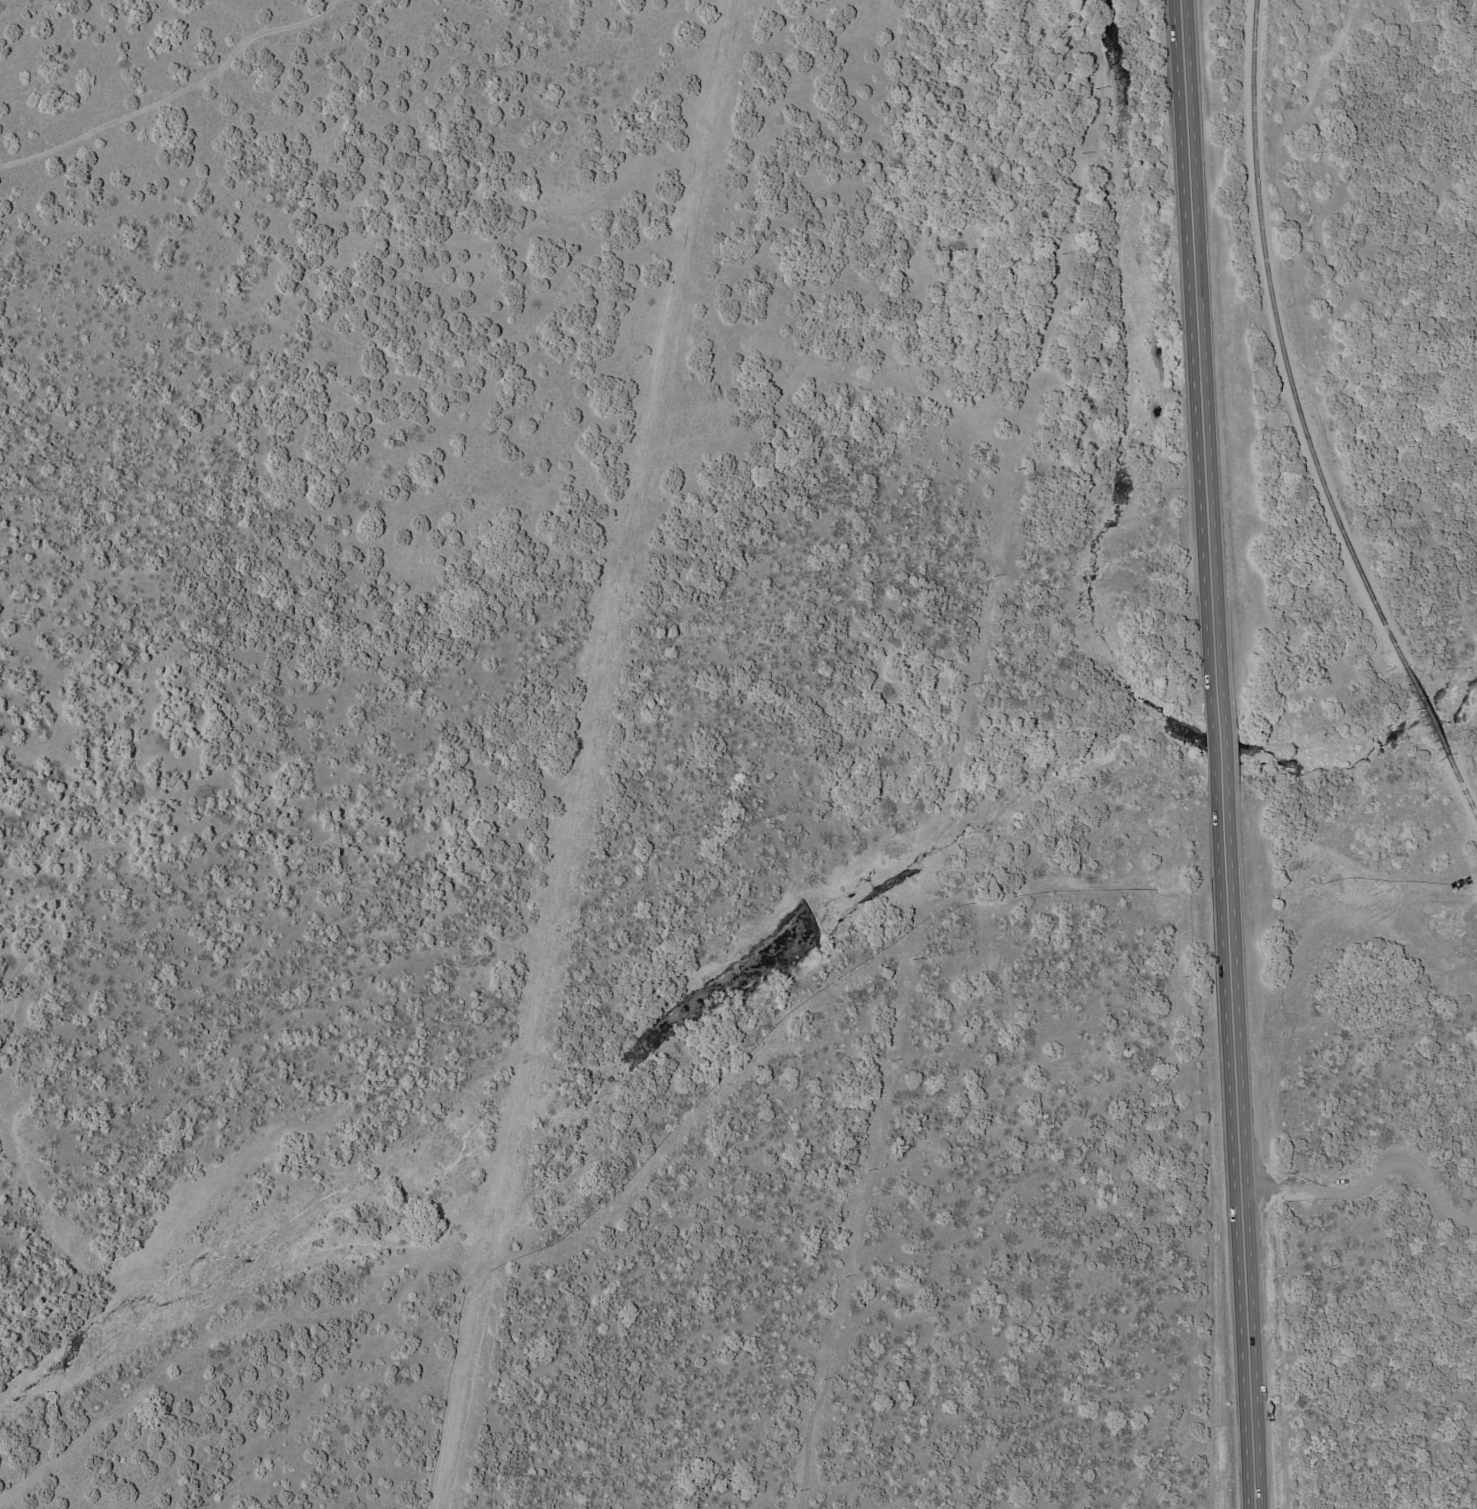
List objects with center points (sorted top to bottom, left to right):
road: (1195, 342)
railway: (1284, 345)
railway: (1425, 714)
road: (1213, 733)
railway: (1462, 789)
road: (1231, 1146)

